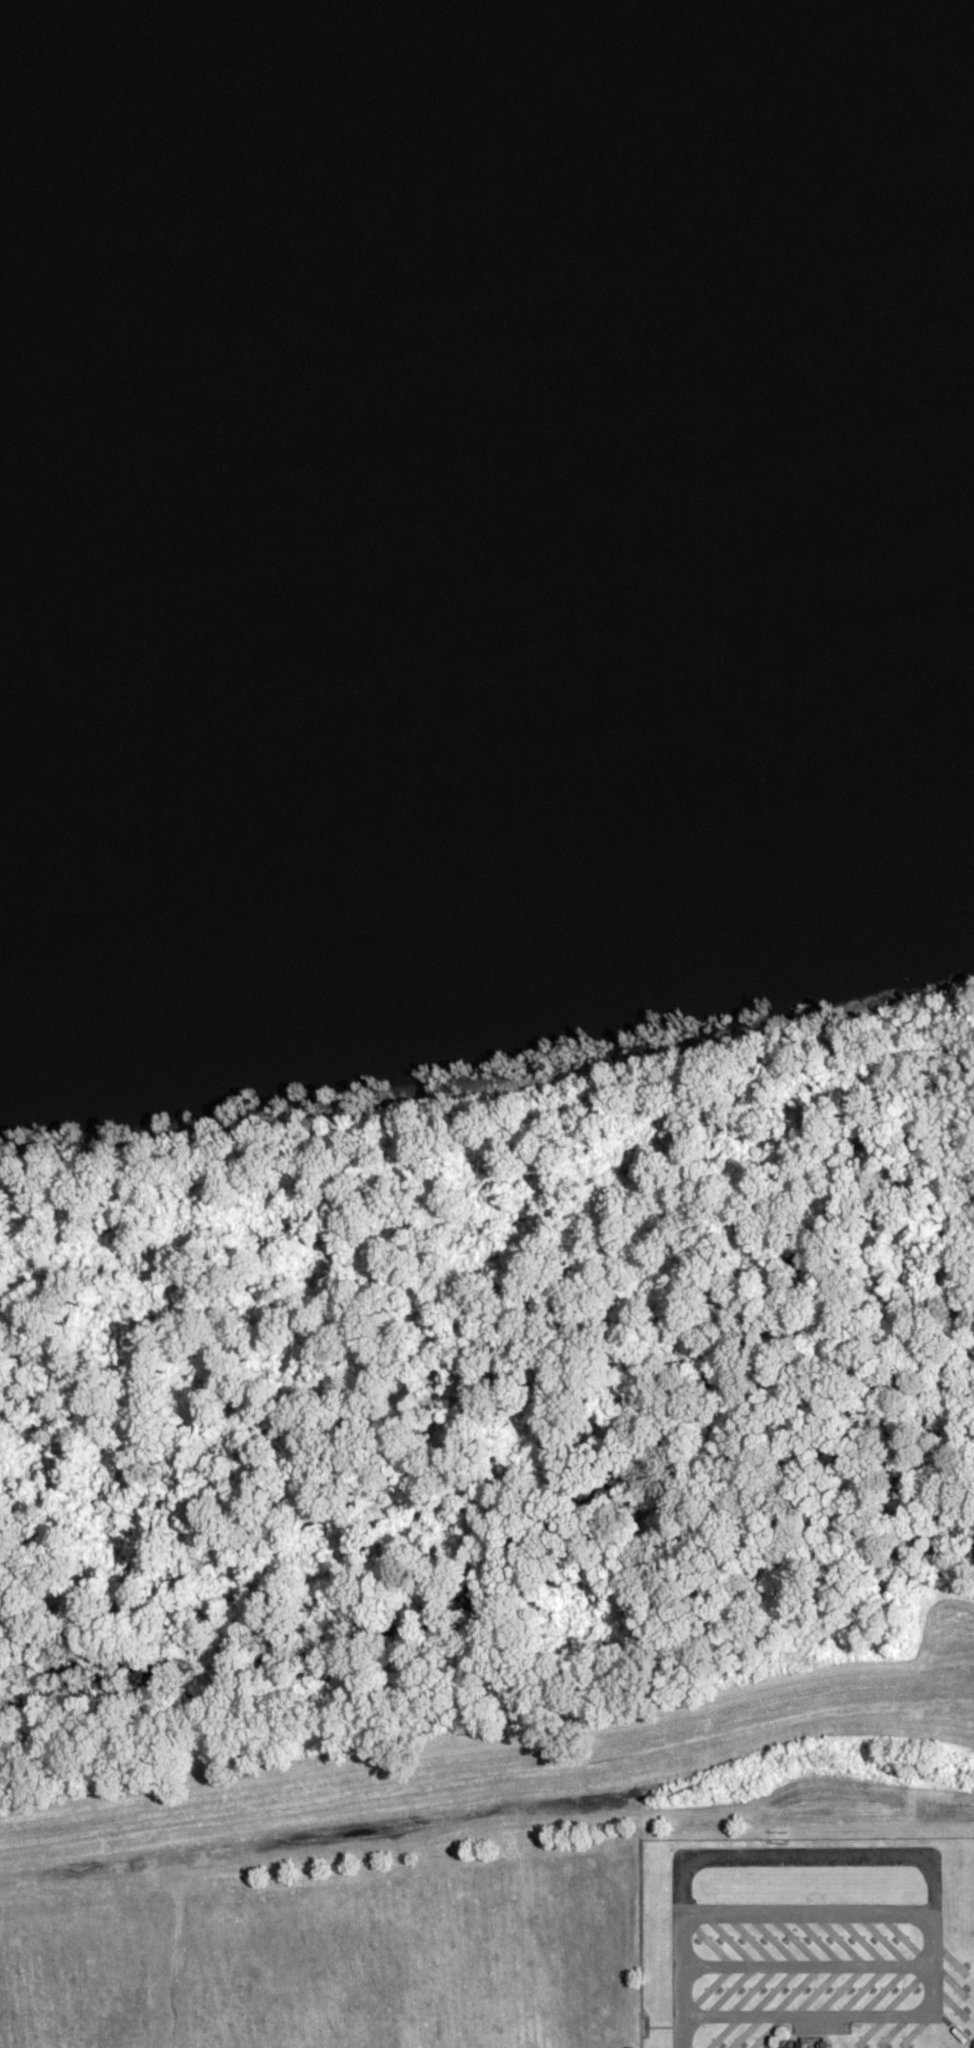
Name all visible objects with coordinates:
river: (487, 139)
road: (931, 1858)
road: (806, 1936)
road: (681, 2031)
building: (819, 2041)

